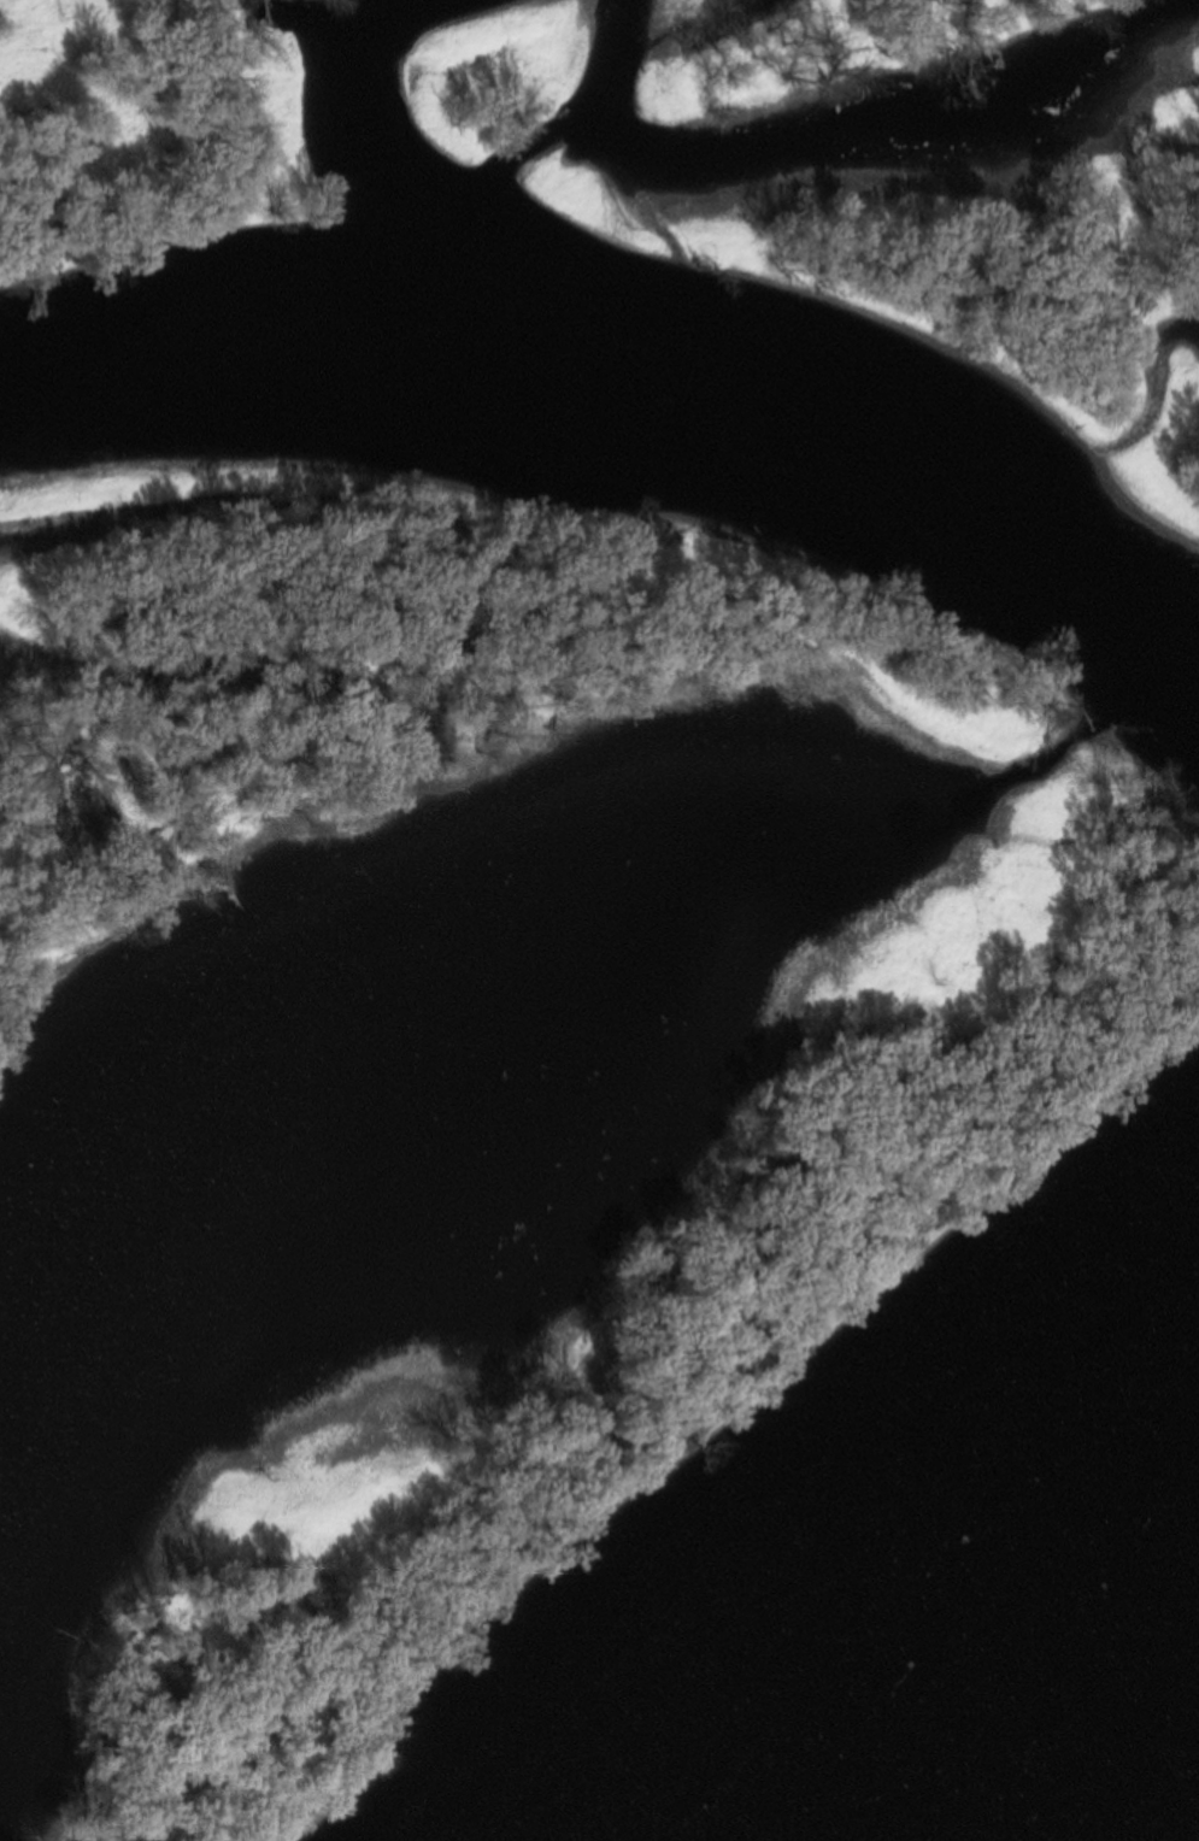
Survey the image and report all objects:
river: (1018, 1710)

